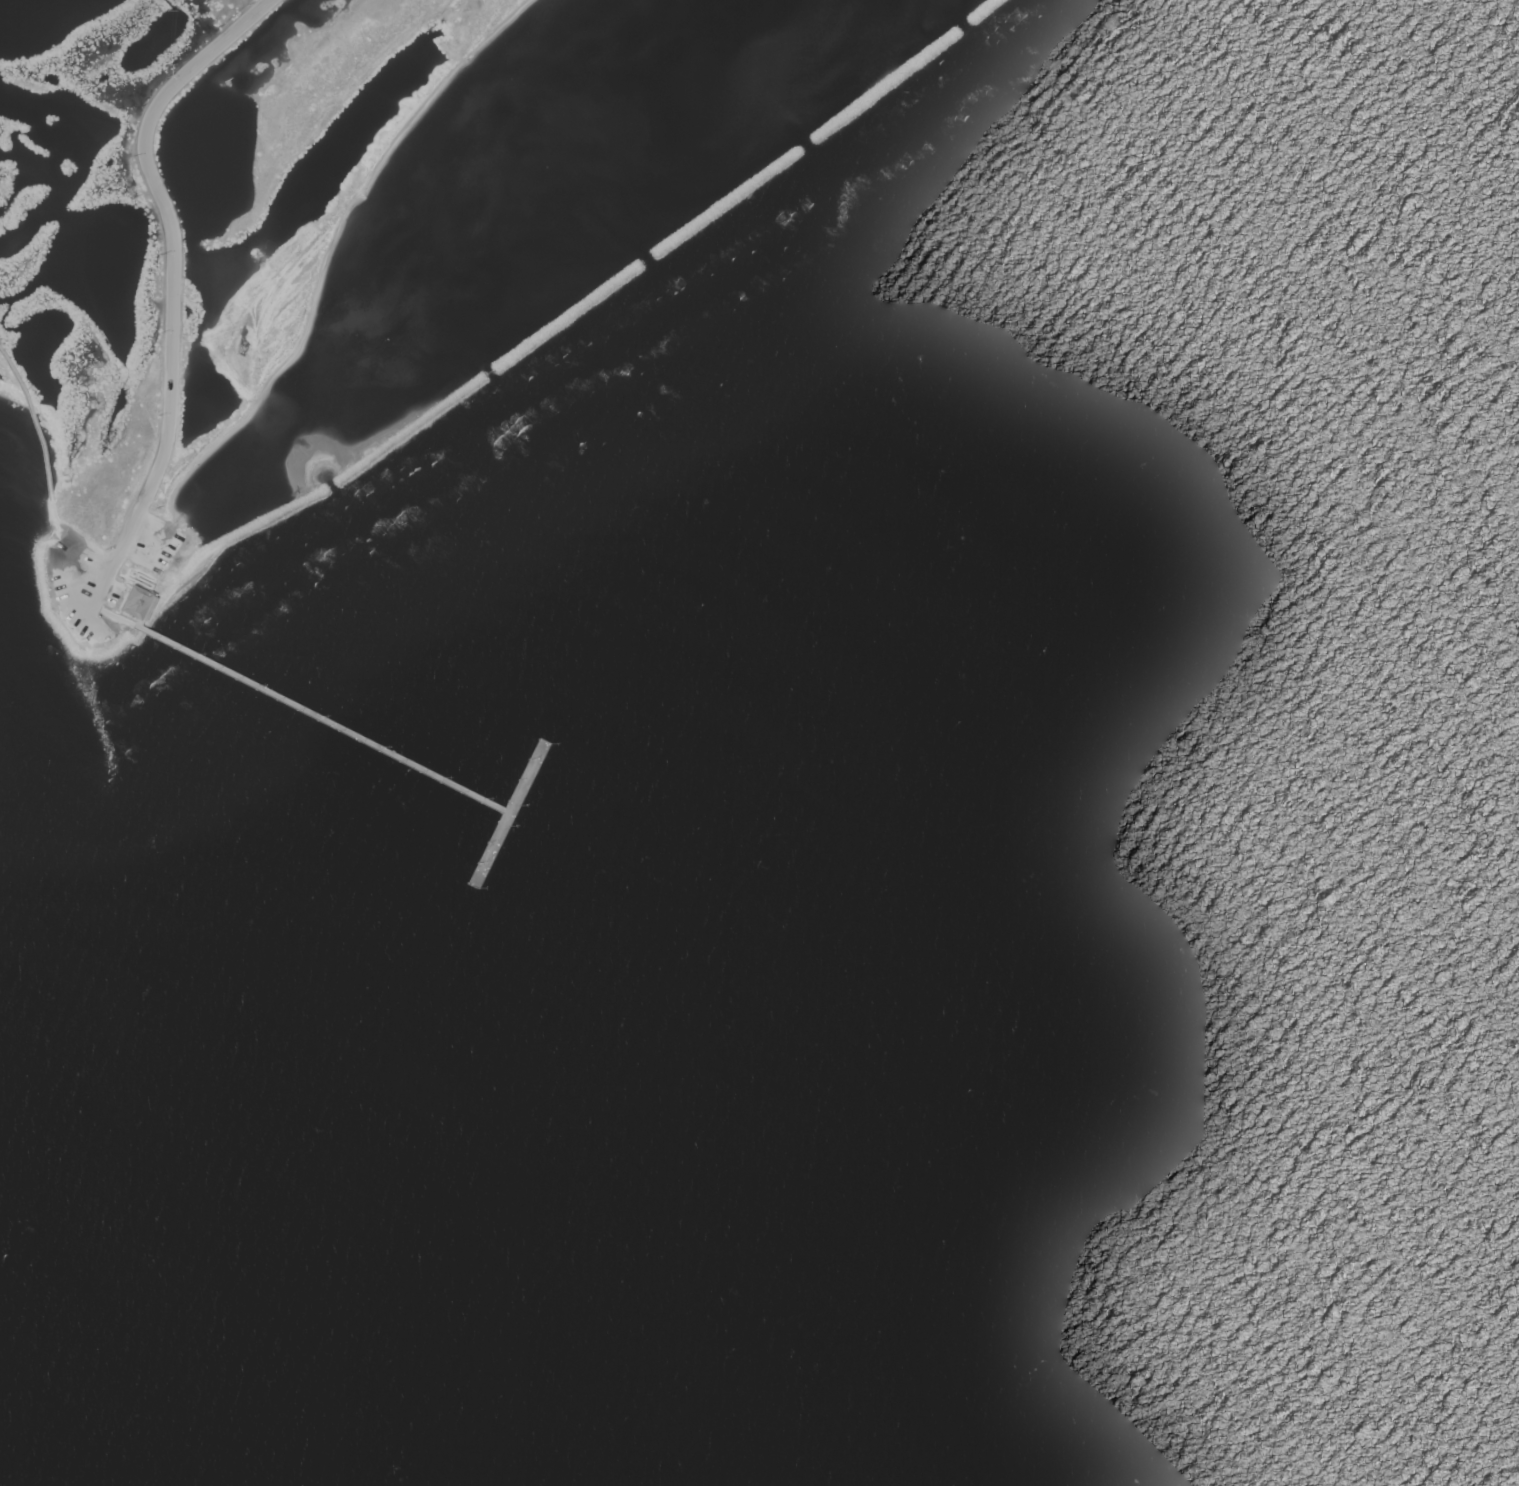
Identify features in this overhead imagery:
park: (182, 241)
road: (171, 288)
road: (33, 422)
road: (57, 525)
road: (69, 560)
parking lot: (83, 574)
building: (131, 601)
pier: (302, 709)
pier: (512, 811)

